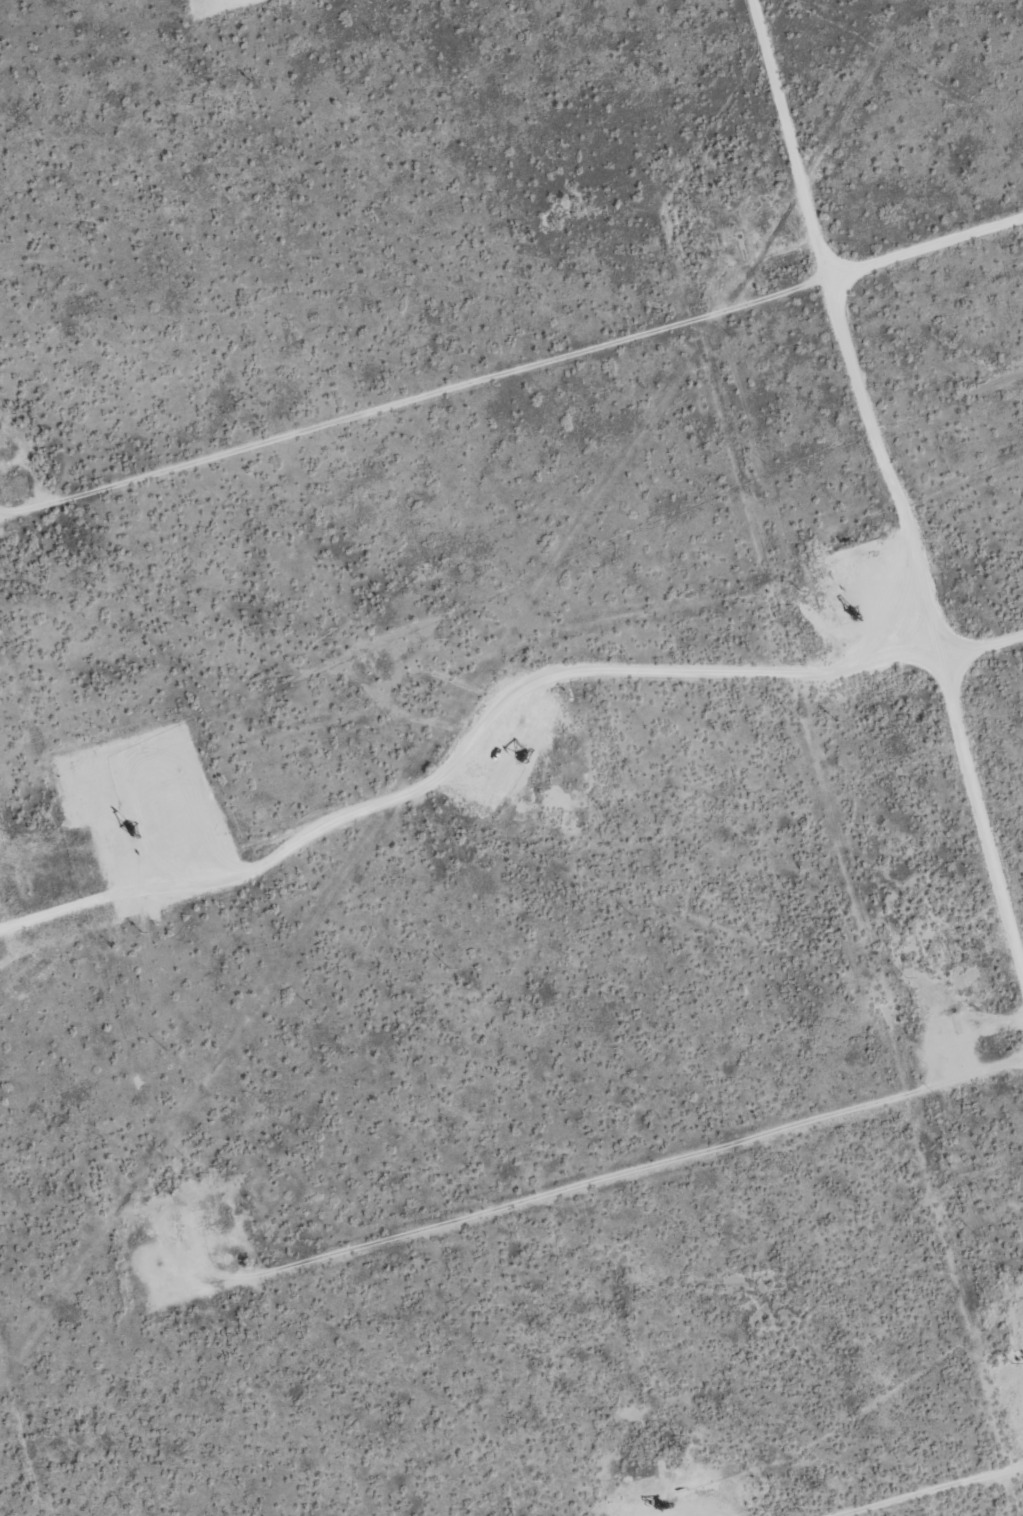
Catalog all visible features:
road: (527, 363)
road: (888, 490)
road: (622, 1170)

